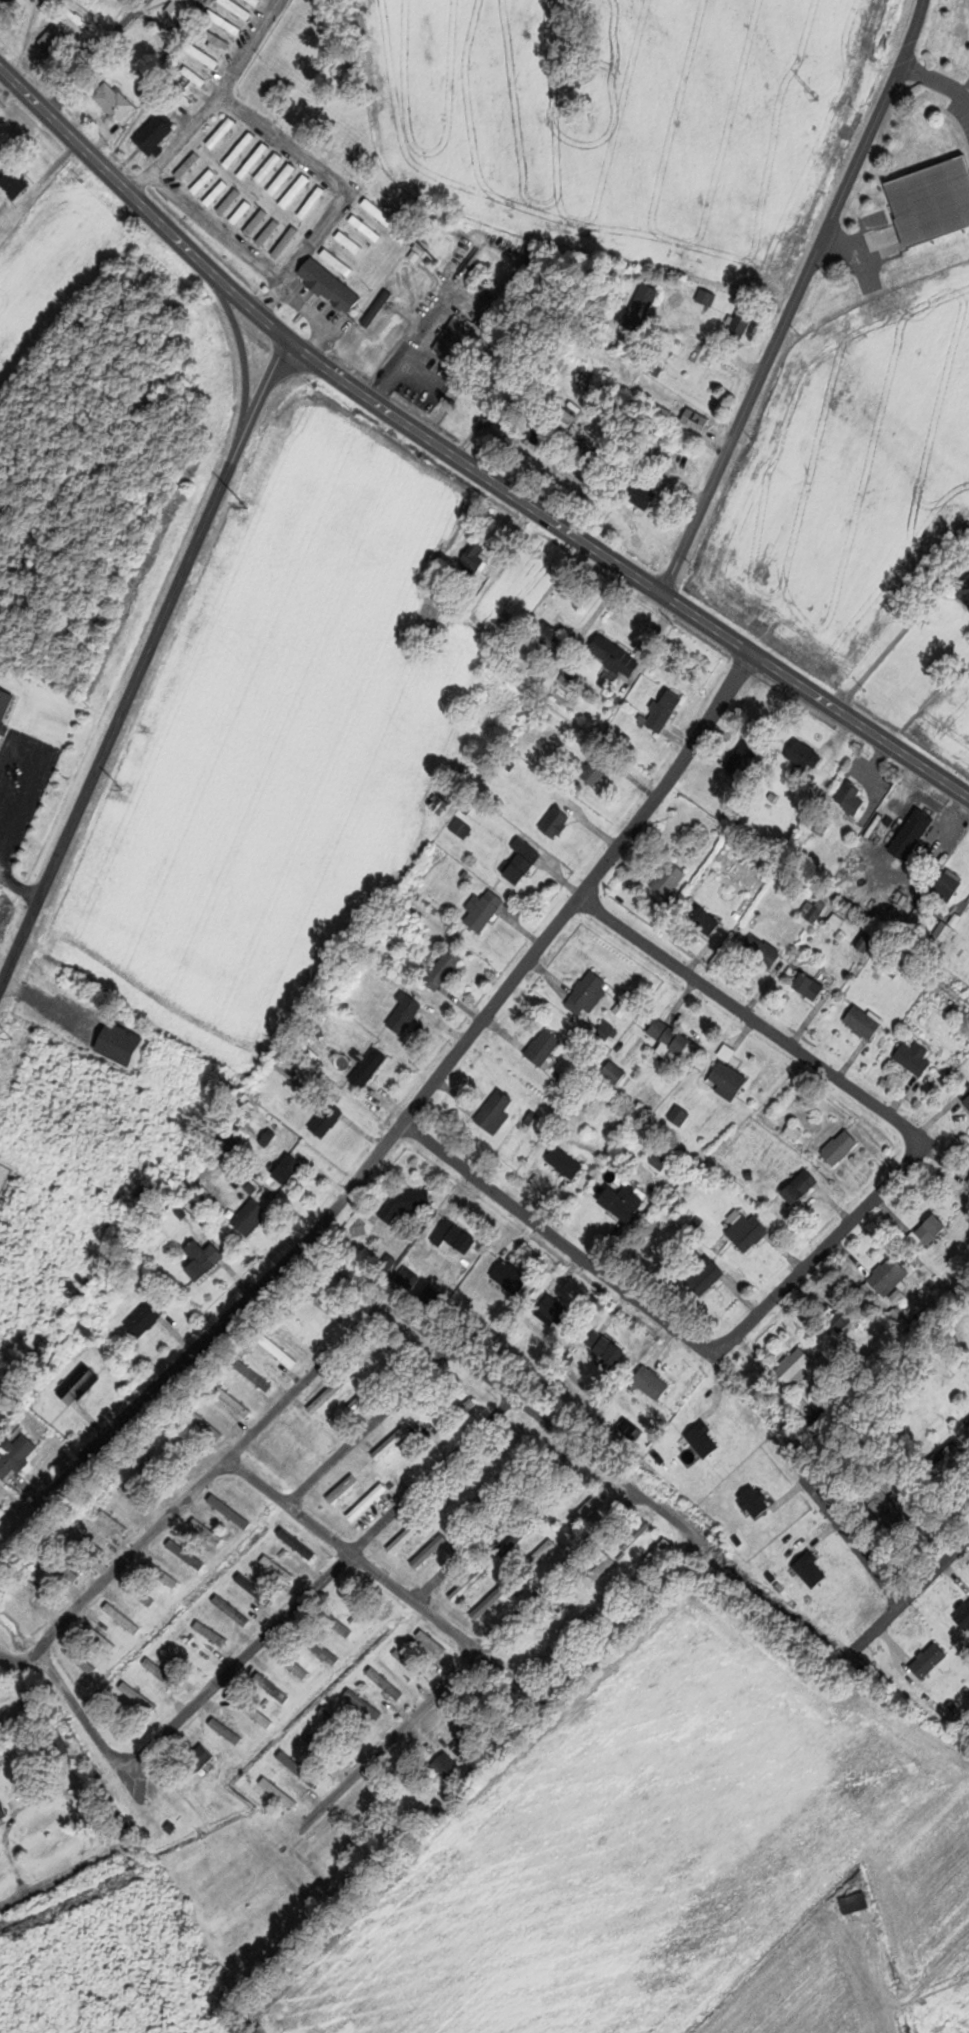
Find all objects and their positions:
building: (5, 3)
building: (241, 9)
building: (185, 10)
building: (234, 27)
building: (56, 43)
building: (221, 43)
road: (94, 55)
building: (204, 55)
building: (195, 75)
power tower: (818, 94)
building: (114, 100)
road: (214, 102)
building: (223, 132)
building: (155, 135)
building: (240, 149)
building: (255, 160)
building: (189, 164)
building: (270, 166)
building: (283, 179)
building: (205, 180)
building: (15, 182)
road: (346, 189)
building: (296, 190)
building: (218, 192)
building: (229, 201)
building: (932, 201)
building: (313, 202)
building: (243, 212)
building: (378, 213)
building: (258, 222)
building: (367, 228)
building: (270, 233)
building: (351, 241)
building: (287, 242)
building: (423, 246)
building: (375, 256)
power tower: (437, 260)
building: (339, 262)
building: (331, 285)
building: (708, 297)
road: (798, 300)
building: (642, 307)
building: (379, 308)
building: (742, 324)
building: (453, 337)
building: (697, 419)
building: (657, 428)
building: (540, 434)
road: (461, 460)
building: (639, 492)
power tower: (247, 507)
building: (473, 560)
building: (965, 591)
road: (903, 632)
building: (549, 635)
building: (616, 655)
road: (147, 675)
building: (5, 707)
building: (666, 711)
building: (743, 759)
building: (805, 760)
building: (593, 773)
power tower: (123, 788)
building: (851, 798)
building: (447, 800)
building: (556, 823)
building: (913, 834)
building: (523, 862)
building: (670, 879)
building: (949, 887)
building: (485, 909)
building: (706, 921)
building: (945, 932)
building: (867, 942)
building: (764, 951)
building: (444, 969)
building: (810, 985)
building: (589, 993)
building: (406, 1012)
building: (864, 1022)
building: (671, 1036)
power tower: (13, 1037)
building: (120, 1043)
building: (545, 1046)
building: (916, 1058)
building: (369, 1068)
building: (615, 1072)
building: (730, 1080)
road: (431, 1084)
building: (966, 1093)
road: (875, 1107)
building: (496, 1111)
building: (328, 1119)
building: (841, 1146)
building: (566, 1161)
building: (289, 1168)
building: (968, 1181)
building: (801, 1186)
building: (624, 1201)
building: (252, 1216)
building: (933, 1228)
building: (749, 1231)
building: (455, 1236)
road: (559, 1241)
building: (204, 1258)
building: (390, 1262)
road: (956, 1266)
building: (512, 1275)
building: (705, 1275)
building: (891, 1275)
building: (410, 1277)
building: (433, 1295)
building: (331, 1308)
building: (555, 1311)
building: (843, 1316)
building: (145, 1319)
building: (278, 1349)
building: (607, 1349)
building: (374, 1351)
building: (799, 1367)
building: (255, 1375)
building: (652, 1383)
building: (79, 1385)
building: (330, 1394)
building: (233, 1400)
building: (468, 1408)
building: (967, 1421)
road: (535, 1423)
building: (209, 1426)
road: (370, 1431)
building: (506, 1441)
building: (392, 1443)
building: (17, 1456)
road: (208, 1478)
building: (344, 1488)
building: (137, 1497)
building: (369, 1502)
building: (589, 1508)
building: (115, 1522)
road: (495, 1528)
building: (208, 1531)
building: (637, 1535)
building: (404, 1538)
building: (519, 1538)
road: (853, 1542)
building: (88, 1543)
building: (431, 1551)
building: (544, 1551)
building: (188, 1554)
building: (659, 1554)
building: (279, 1568)
building: (602, 1569)
building: (66, 1570)
building: (164, 1574)
road: (392, 1584)
building: (470, 1584)
road: (322, 1588)
road: (922, 1588)
building: (40, 1590)
building: (142, 1594)
building: (490, 1603)
building: (565, 1605)
building: (233, 1610)
road: (634, 1610)
building: (124, 1618)
building: (589, 1620)
building: (339, 1624)
building: (212, 1633)
building: (433, 1642)
building: (323, 1649)
road: (464, 1656)
building: (553, 1656)
building: (931, 1659)
building: (82, 1660)
road: (22, 1662)
building: (295, 1664)
building: (163, 1673)
building: (387, 1683)
building: (273, 1687)
building: (140, 1696)
building: (365, 1703)
road: (86, 1709)
building: (59, 1742)
building: (197, 1761)
building: (448, 1766)
building: (300, 1768)
building: (280, 1792)
building: (4, 1812)
road: (73, 1875)

